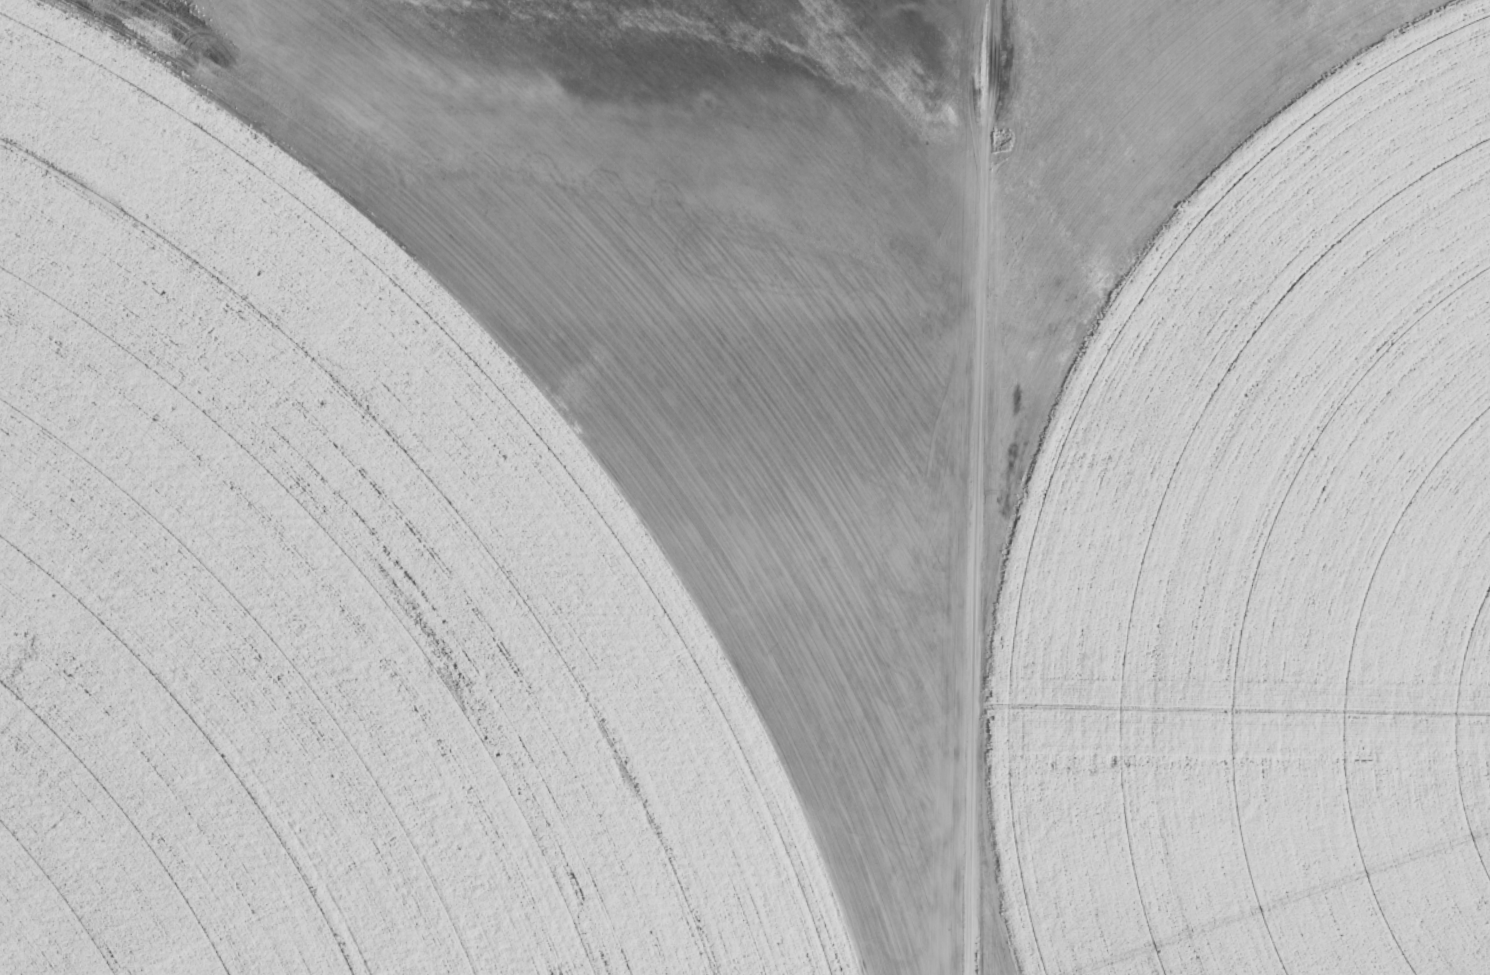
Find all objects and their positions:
road: (981, 487)

